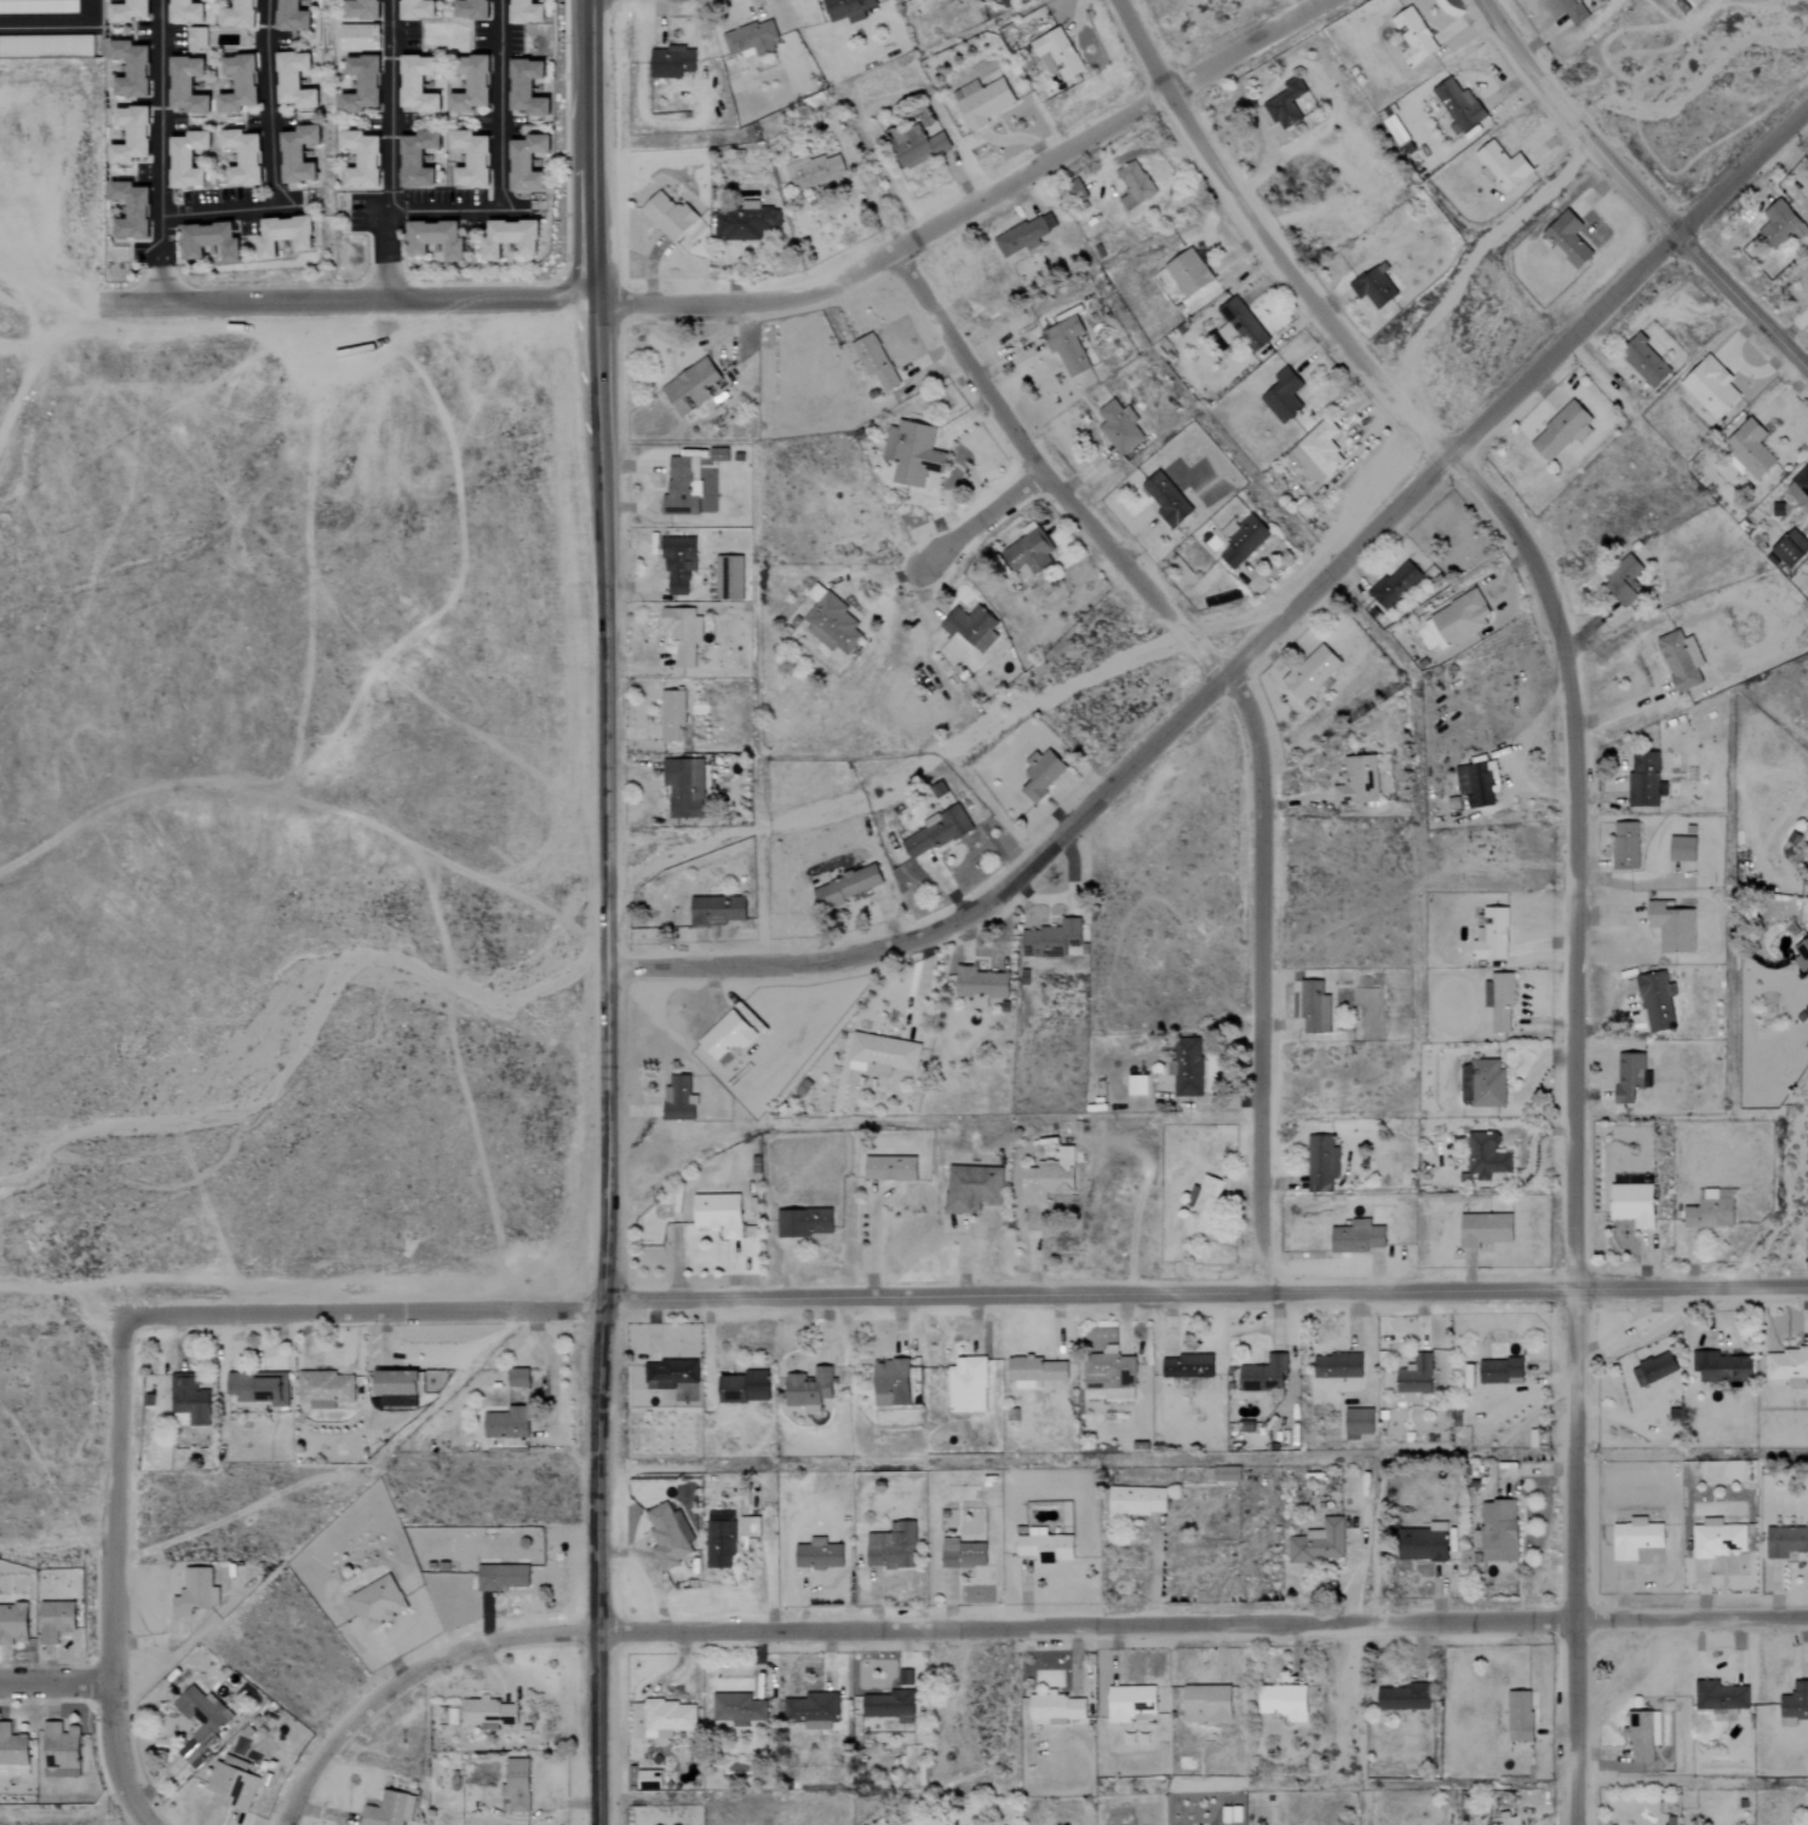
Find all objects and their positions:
building: (39, 7)
building: (362, 10)
building: (472, 10)
building: (846, 10)
building: (417, 11)
building: (1574, 11)
building: (128, 12)
building: (185, 12)
building: (527, 13)
building: (240, 16)
building: (292, 17)
building: (1414, 38)
building: (196, 39)
building: (358, 39)
building: (751, 40)
street lamp: (566, 46)
building: (1057, 54)
building: (671, 63)
building: (131, 70)
building: (295, 82)
building: (240, 85)
building: (362, 85)
building: (418, 86)
building: (472, 86)
building: (186, 87)
building: (528, 90)
building: (985, 104)
building: (1286, 104)
building: (1459, 107)
building: (131, 137)
road: (590, 148)
road: (390, 149)
building: (917, 149)
road: (157, 151)
building: (300, 156)
building: (243, 159)
building: (418, 160)
building: (472, 160)
building: (186, 161)
road: (270, 161)
building: (362, 161)
building: (528, 165)
building: (1503, 167)
building: (814, 171)
road: (503, 174)
building: (1135, 185)
road: (1635, 191)
road: (975, 206)
building: (131, 212)
building: (668, 217)
building: (746, 223)
building: (1779, 225)
building: (285, 234)
building: (1024, 235)
building: (436, 237)
building: (511, 237)
building: (211, 240)
building: (1567, 241)
street lamp: (566, 265)
building: (1188, 272)
building: (1374, 287)
road: (351, 298)
building: (1245, 323)
building: (1067, 345)
building: (874, 361)
building: (1645, 362)
building: (690, 386)
building: (1710, 388)
building: (1284, 395)
building: (1119, 426)
building: (1562, 430)
building: (1319, 450)
building: (1749, 450)
building: (912, 452)
building: (683, 487)
building: (1800, 487)
building: (1167, 499)
road: (978, 522)
building: (1242, 540)
building: (1791, 549)
building: (1029, 552)
building: (678, 562)
building: (728, 578)
building: (1395, 584)
building: (1622, 589)
building: (1374, 609)
building: (1458, 619)
building: (832, 624)
building: (971, 627)
building: (682, 633)
road: (1258, 641)
building: (1682, 660)
building: (1311, 672)
road: (1247, 713)
building: (671, 714)
building: (1043, 775)
building: (1646, 780)
building: (1358, 781)
building: (1480, 784)
building: (684, 787)
building: (1459, 803)
building: (937, 832)
road: (1574, 838)
building: (1625, 846)
building: (1682, 849)
building: (848, 886)
building: (717, 911)
building: (1672, 928)
building: (1493, 935)
building: (1052, 940)
building: (1804, 948)
building: (981, 986)
building: (1500, 1002)
building: (1657, 1002)
building: (1314, 1008)
building: (727, 1035)
building: (882, 1055)
road: (604, 1060)
building: (1187, 1067)
building: (1632, 1080)
building: (1482, 1084)
building: (1140, 1085)
building: (802, 1087)
building: (679, 1100)
building: (1486, 1157)
building: (1321, 1164)
building: (891, 1169)
building: (1051, 1178)
building: (975, 1188)
building: (1634, 1204)
building: (1205, 1205)
building: (1711, 1210)
building: (718, 1215)
building: (804, 1223)
building: (1486, 1229)
building: (1359, 1238)
road: (873, 1243)
road: (63, 1291)
road: (1205, 1295)
road: (362, 1314)
building: (1337, 1365)
building: (1187, 1366)
building: (1722, 1366)
building: (1787, 1366)
building: (1654, 1368)
building: (1034, 1371)
building: (1500, 1371)
building: (668, 1373)
building: (1263, 1376)
building: (517, 1377)
building: (896, 1379)
building: (1416, 1381)
building: (396, 1382)
building: (968, 1384)
building: (256, 1385)
building: (746, 1387)
building: (325, 1389)
building: (811, 1389)
building: (189, 1399)
building: (398, 1400)
building: (507, 1423)
building: (1358, 1423)
building: (1227, 1474)
building: (1135, 1502)
building: (1498, 1531)
building: (670, 1534)
building: (1636, 1538)
building: (1718, 1538)
building: (722, 1539)
building: (1786, 1540)
building: (1423, 1543)
building: (1320, 1544)
building: (892, 1546)
building: (1045, 1548)
building: (819, 1554)
building: (963, 1554)
road: (115, 1577)
building: (501, 1577)
building: (195, 1591)
building: (378, 1602)
building: (54, 1620)
building: (12, 1623)
road: (1005, 1626)
building: (905, 1677)
road: (57, 1681)
building: (1405, 1697)
building: (1721, 1697)
building: (1130, 1701)
building: (1284, 1701)
building: (1207, 1703)
building: (889, 1705)
building: (1795, 1705)
building: (737, 1708)
building: (1056, 1708)
building: (817, 1710)
building: (487, 1712)
building: (1520, 1715)
building: (668, 1717)
building: (1642, 1735)
building: (59, 1750)
building: (12, 1752)
building: (231, 1784)
building: (517, 1785)
building: (389, 1809)

